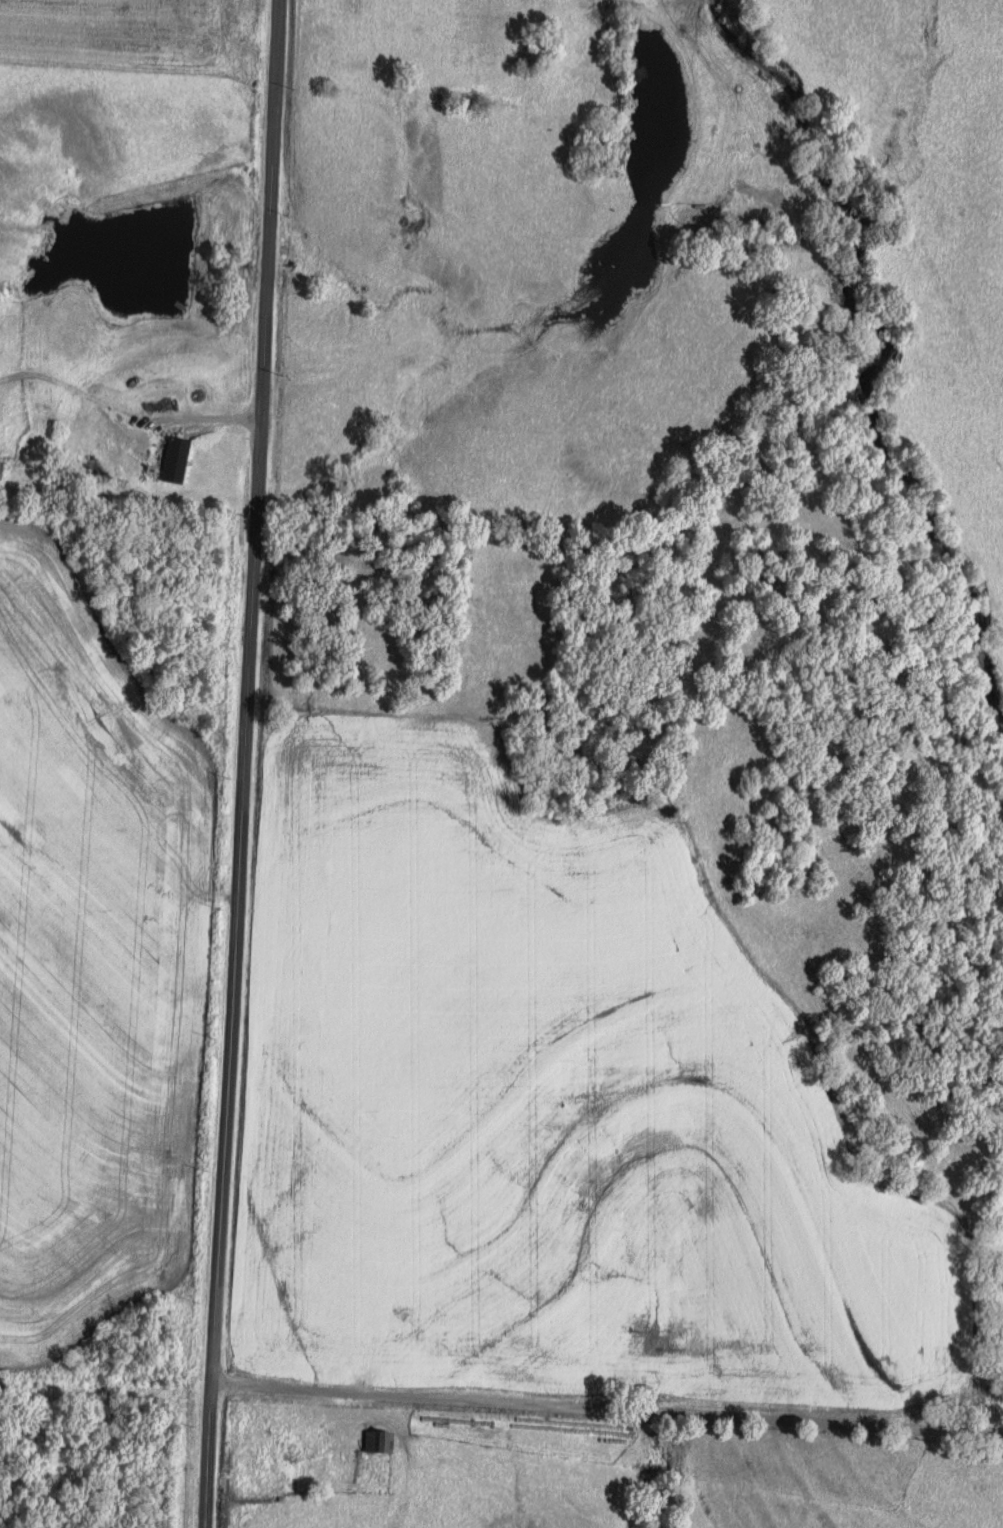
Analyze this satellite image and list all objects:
building: (166, 395)
road: (232, 412)
building: (111, 452)
road: (149, 476)
road: (247, 764)
road: (607, 1407)
building: (375, 1442)
building: (269, 1516)

